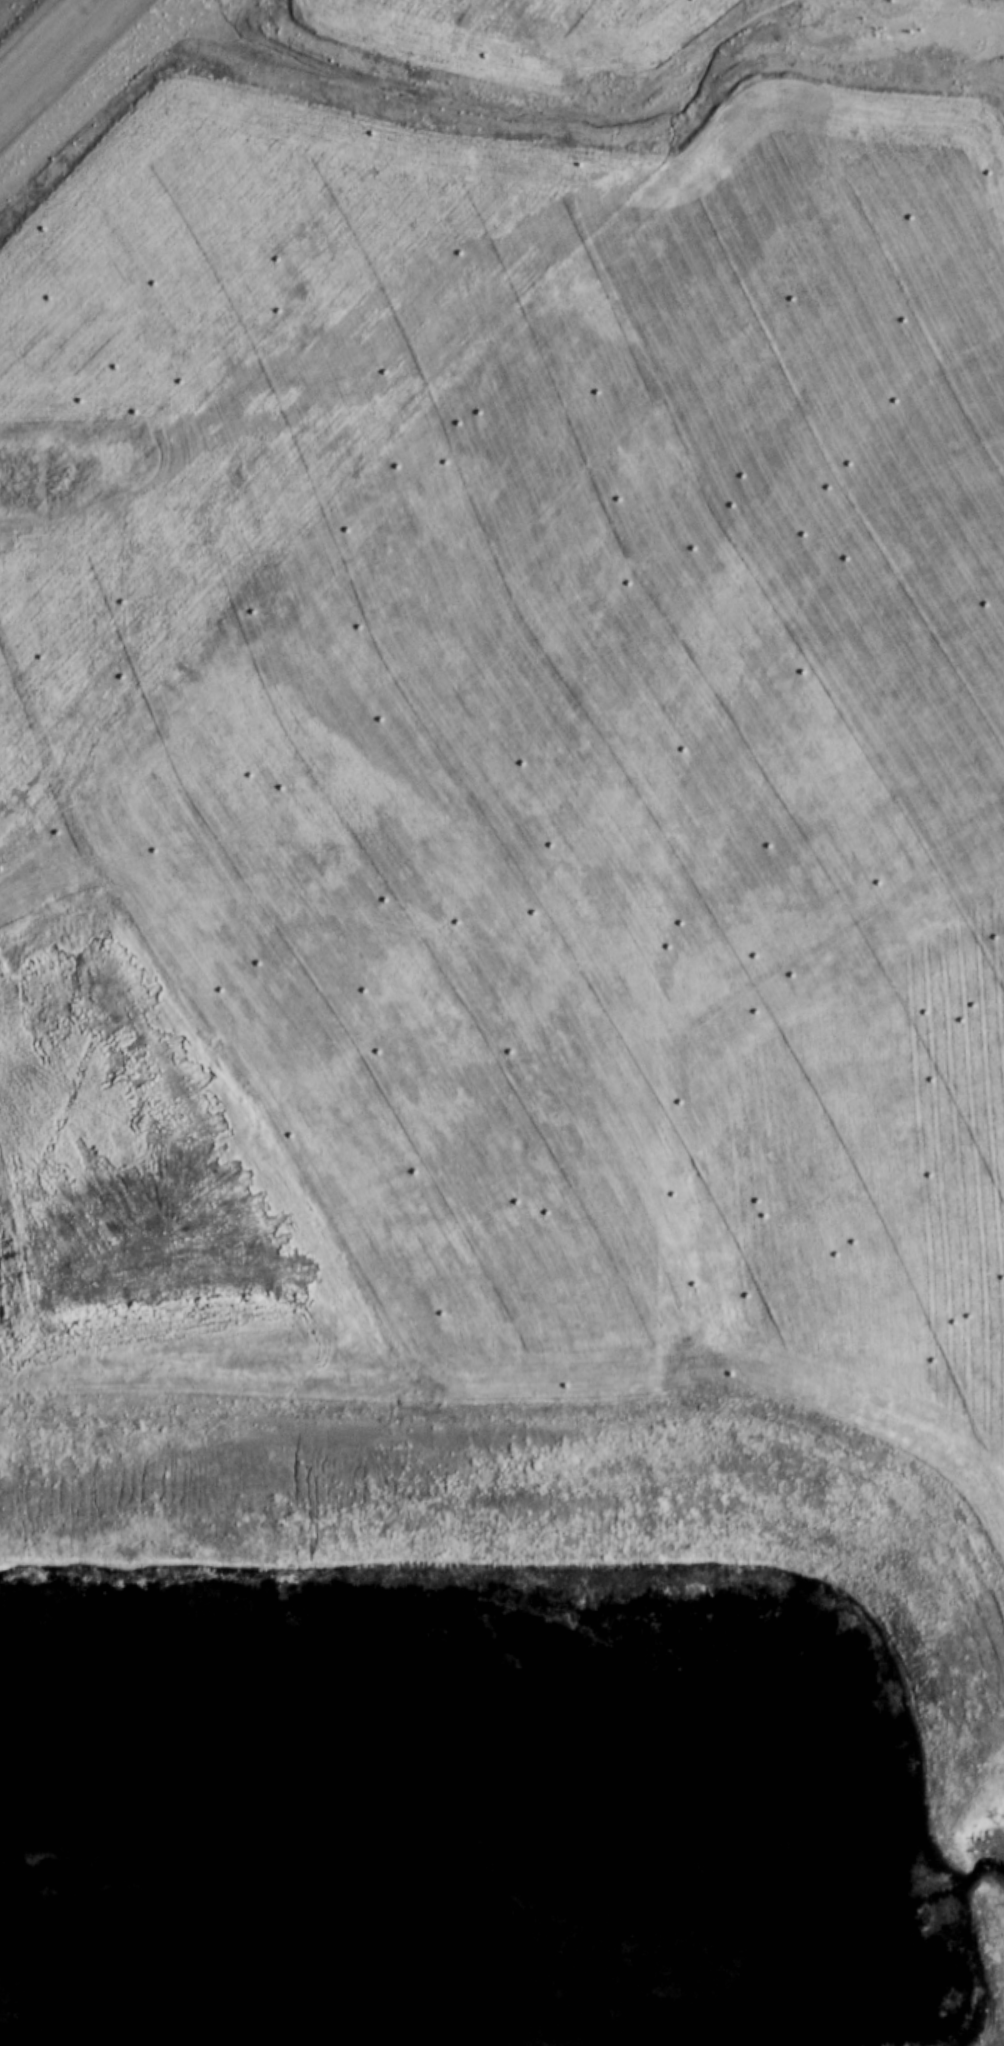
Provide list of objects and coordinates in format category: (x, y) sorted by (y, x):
quarry: (957, 1916)

